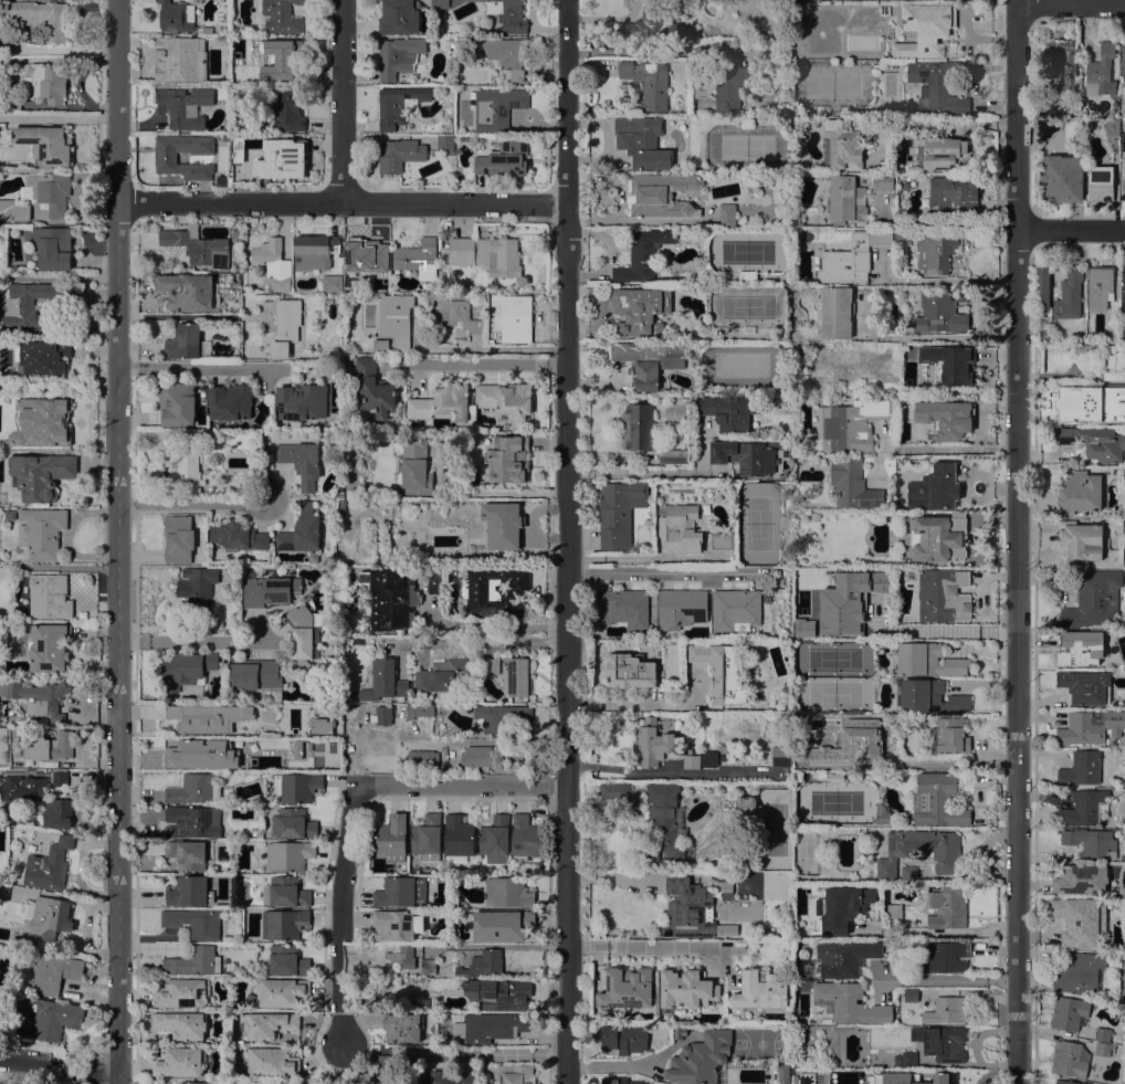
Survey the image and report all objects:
building: (220, 1)
road: (1070, 1)
building: (1, 7)
building: (496, 12)
building: (176, 15)
building: (281, 15)
building: (42, 17)
building: (398, 17)
road: (609, 20)
building: (653, 23)
building: (207, 29)
building: (476, 29)
building: (925, 29)
building: (7, 33)
building: (221, 40)
building: (434, 43)
building: (451, 43)
road: (59, 48)
road: (628, 49)
building: (502, 54)
building: (398, 56)
building: (276, 57)
road: (59, 59)
building: (180, 59)
building: (1123, 60)
building: (1061, 65)
building: (1101, 71)
building: (723, 80)
building: (648, 82)
building: (46, 83)
building: (939, 83)
building: (11, 101)
road: (346, 102)
building: (185, 105)
building: (399, 105)
building: (496, 108)
building: (286, 109)
road: (64, 118)
road: (936, 125)
building: (1112, 126)
building: (244, 141)
building: (445, 141)
building: (640, 143)
building: (45, 144)
building: (842, 144)
building: (450, 152)
building: (399, 154)
building: (946, 154)
building: (285, 156)
building: (166, 158)
building: (504, 158)
building: (1062, 178)
building: (1123, 178)
building: (882, 181)
building: (1101, 182)
building: (48, 191)
building: (661, 194)
building: (954, 194)
building: (845, 200)
road: (340, 203)
building: (13, 211)
building: (727, 215)
road: (945, 220)
road: (1070, 229)
building: (904, 235)
building: (198, 245)
building: (53, 248)
building: (315, 251)
building: (935, 253)
building: (367, 254)
building: (486, 254)
building: (642, 254)
building: (418, 257)
building: (851, 257)
building: (274, 263)
building: (748, 274)
building: (1123, 282)
building: (332, 283)
building: (349, 285)
building: (1100, 286)
building: (1043, 287)
building: (187, 291)
building: (1070, 295)
building: (28, 304)
building: (640, 309)
building: (837, 312)
building: (943, 312)
road: (190, 315)
building: (458, 315)
building: (516, 318)
building: (1044, 318)
building: (393, 325)
building: (285, 327)
building: (749, 329)
road: (57, 330)
building: (1115, 333)
road: (928, 336)
building: (187, 343)
building: (1080, 351)
building: (43, 358)
building: (649, 361)
building: (949, 362)
building: (1114, 362)
road: (189, 368)
road: (476, 369)
building: (374, 388)
building: (505, 399)
building: (230, 401)
building: (302, 401)
building: (441, 402)
building: (177, 403)
building: (1090, 403)
building: (728, 411)
building: (946, 417)
building: (41, 422)
building: (850, 423)
building: (637, 427)
building: (201, 435)
building: (1095, 442)
building: (814, 444)
road: (951, 448)
building: (506, 454)
building: (673, 456)
building: (745, 456)
building: (302, 462)
building: (186, 469)
building: (416, 469)
road: (660, 474)
building: (41, 475)
building: (853, 484)
building: (2, 487)
building: (935, 487)
building: (1079, 491)
road: (502, 494)
road: (194, 504)
building: (618, 513)
building: (10, 515)
building: (787, 522)
building: (503, 524)
building: (682, 528)
building: (302, 530)
building: (42, 533)
building: (238, 537)
building: (178, 539)
building: (939, 539)
road: (117, 541)
road: (570, 541)
building: (722, 541)
road: (1016, 541)
building: (1081, 541)
building: (314, 558)
road: (670, 578)
building: (437, 582)
building: (198, 590)
building: (270, 591)
building: (495, 591)
building: (944, 594)
building: (49, 597)
building: (1094, 598)
building: (391, 599)
building: (833, 607)
building: (624, 608)
building: (681, 608)
building: (735, 609)
road: (492, 624)
road: (932, 631)
building: (305, 634)
building: (797, 634)
road: (194, 640)
road: (480, 642)
building: (49, 646)
building: (1080, 648)
building: (928, 660)
building: (491, 666)
building: (187, 670)
building: (630, 671)
building: (722, 672)
building: (454, 673)
building: (255, 676)
building: (518, 676)
building: (422, 681)
building: (385, 682)
building: (1085, 686)
building: (39, 697)
building: (931, 697)
road: (643, 705)
building: (382, 714)
building: (207, 717)
building: (501, 718)
building: (320, 725)
building: (1091, 726)
building: (946, 735)
building: (312, 739)
building: (65, 741)
building: (662, 745)
building: (294, 749)
building: (196, 753)
building: (722, 753)
building: (781, 755)
building: (476, 756)
building: (417, 760)
building: (1085, 768)
road: (665, 771)
building: (837, 778)
road: (462, 782)
building: (31, 785)
building: (297, 786)
building: (194, 789)
building: (616, 789)
building: (938, 800)
building: (747, 804)
building: (1084, 807)
building: (56, 813)
building: (884, 813)
building: (662, 819)
building: (192, 821)
building: (293, 823)
building: (392, 838)
building: (427, 838)
building: (458, 838)
building: (495, 839)
building: (526, 839)
building: (1091, 842)
building: (190, 853)
building: (288, 855)
building: (945, 855)
building: (50, 865)
road: (638, 873)
building: (910, 873)
building: (1082, 878)
building: (4, 891)
building: (189, 891)
building: (285, 892)
building: (401, 893)
building: (508, 893)
building: (843, 906)
building: (946, 906)
building: (687, 909)
building: (894, 911)
road: (340, 914)
building: (48, 918)
building: (1081, 920)
building: (194, 922)
building: (284, 923)
building: (393, 925)
building: (503, 925)
road: (951, 932)
road: (587, 944)
building: (890, 944)
road: (672, 945)
building: (402, 956)
building: (940, 956)
building: (843, 957)
building: (194, 960)
building: (288, 960)
building: (483, 962)
building: (427, 967)
building: (55, 972)
building: (1080, 972)
road: (947, 979)
building: (628, 988)
building: (763, 988)
building: (685, 990)
building: (183, 992)
building: (283, 992)
building: (498, 992)
building: (0, 993)
building: (912, 994)
building: (427, 1002)
building: (849, 1002)
building: (2, 1006)
building: (947, 1011)
building: (1070, 1012)
building: (55, 1018)
building: (182, 1024)
building: (270, 1024)
building: (403, 1027)
building: (490, 1027)
building: (1103, 1034)
building: (623, 1039)
building: (943, 1042)
road: (974, 1046)
building: (1105, 1049)
road: (494, 1053)
building: (701, 1057)
building: (1071, 1057)
building: (907, 1059)
building: (179, 1062)
building: (272, 1062)
building: (388, 1065)
road: (611, 1065)
road: (57, 1066)
building: (516, 1073)
building: (784, 1073)
building: (859, 1075)
building: (910, 1075)
building: (449, 1077)
road: (101, 1078)
building: (944, 1078)
building: (620, 1081)
building: (1070, 1082)
building: (193, 1083)
building: (278, 1083)

